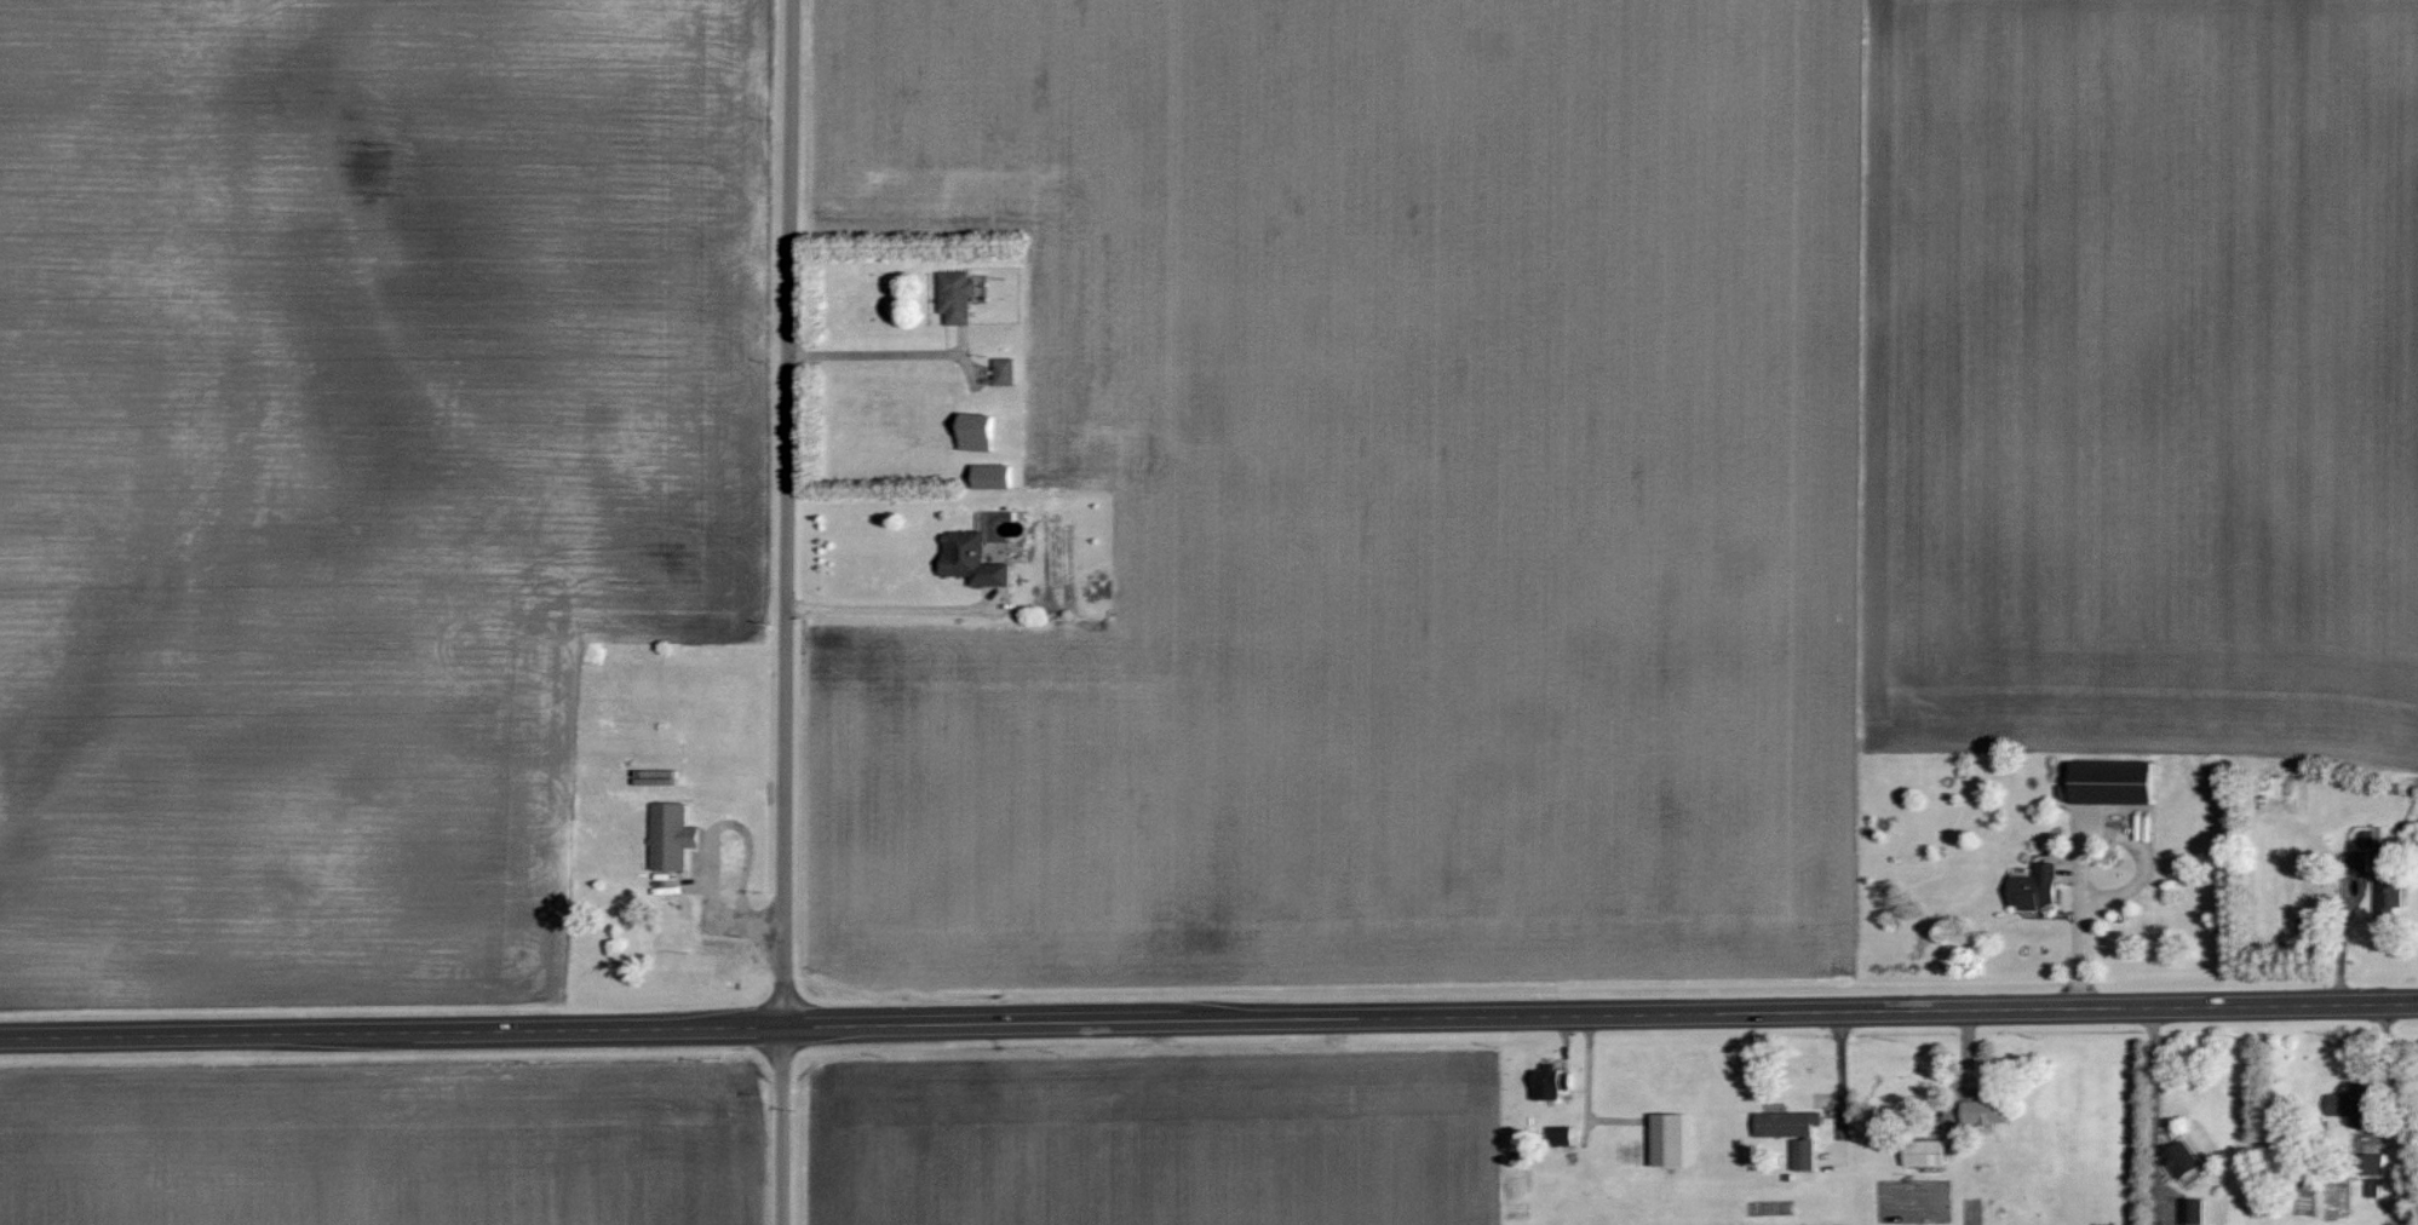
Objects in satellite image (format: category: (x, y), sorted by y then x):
building: (953, 295)
building: (1003, 370)
building: (980, 430)
building: (989, 475)
building: (967, 558)
road: (788, 612)
building: (2107, 781)
building: (668, 835)
building: (2356, 862)
building: (2031, 886)
building: (2387, 892)
road: (1208, 1019)
building: (1543, 1081)
building: (2344, 1105)
building: (1982, 1111)
building: (1788, 1132)
building: (1557, 1134)
building: (1666, 1139)
building: (1922, 1151)
building: (2182, 1162)
building: (2370, 1162)
building: (2189, 1210)

